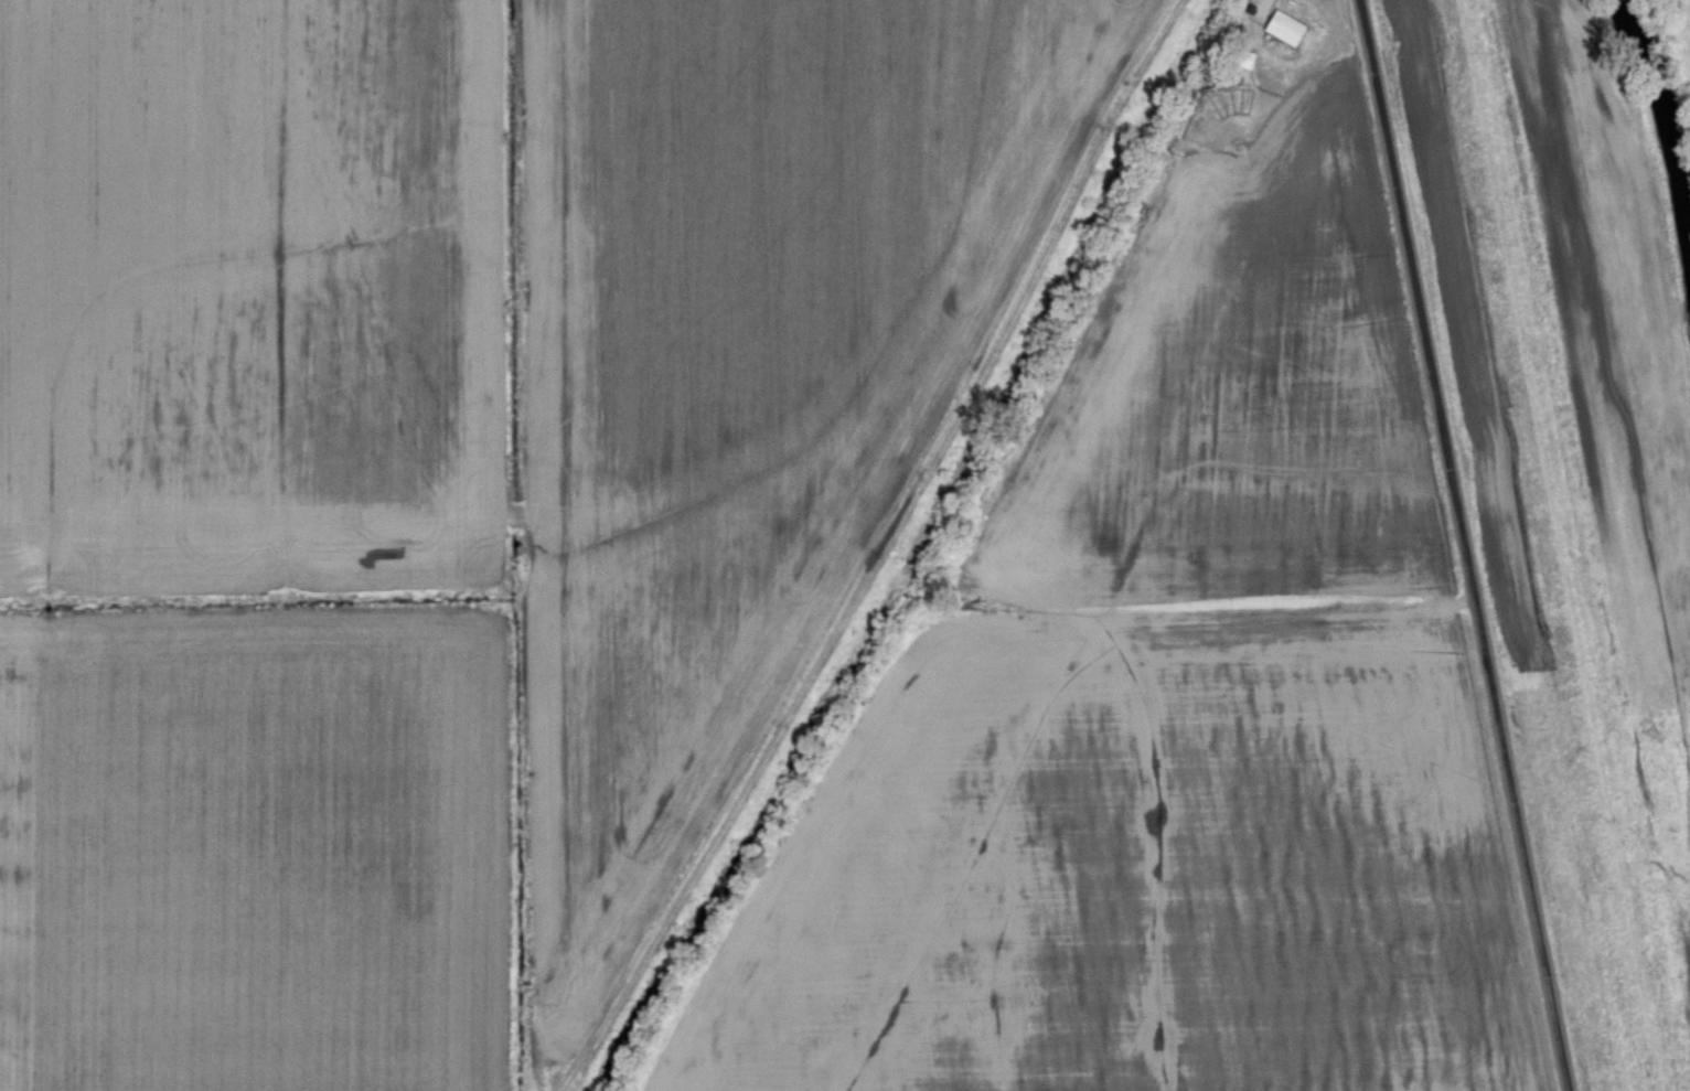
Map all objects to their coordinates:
building: (1291, 29)
road: (1400, 544)

